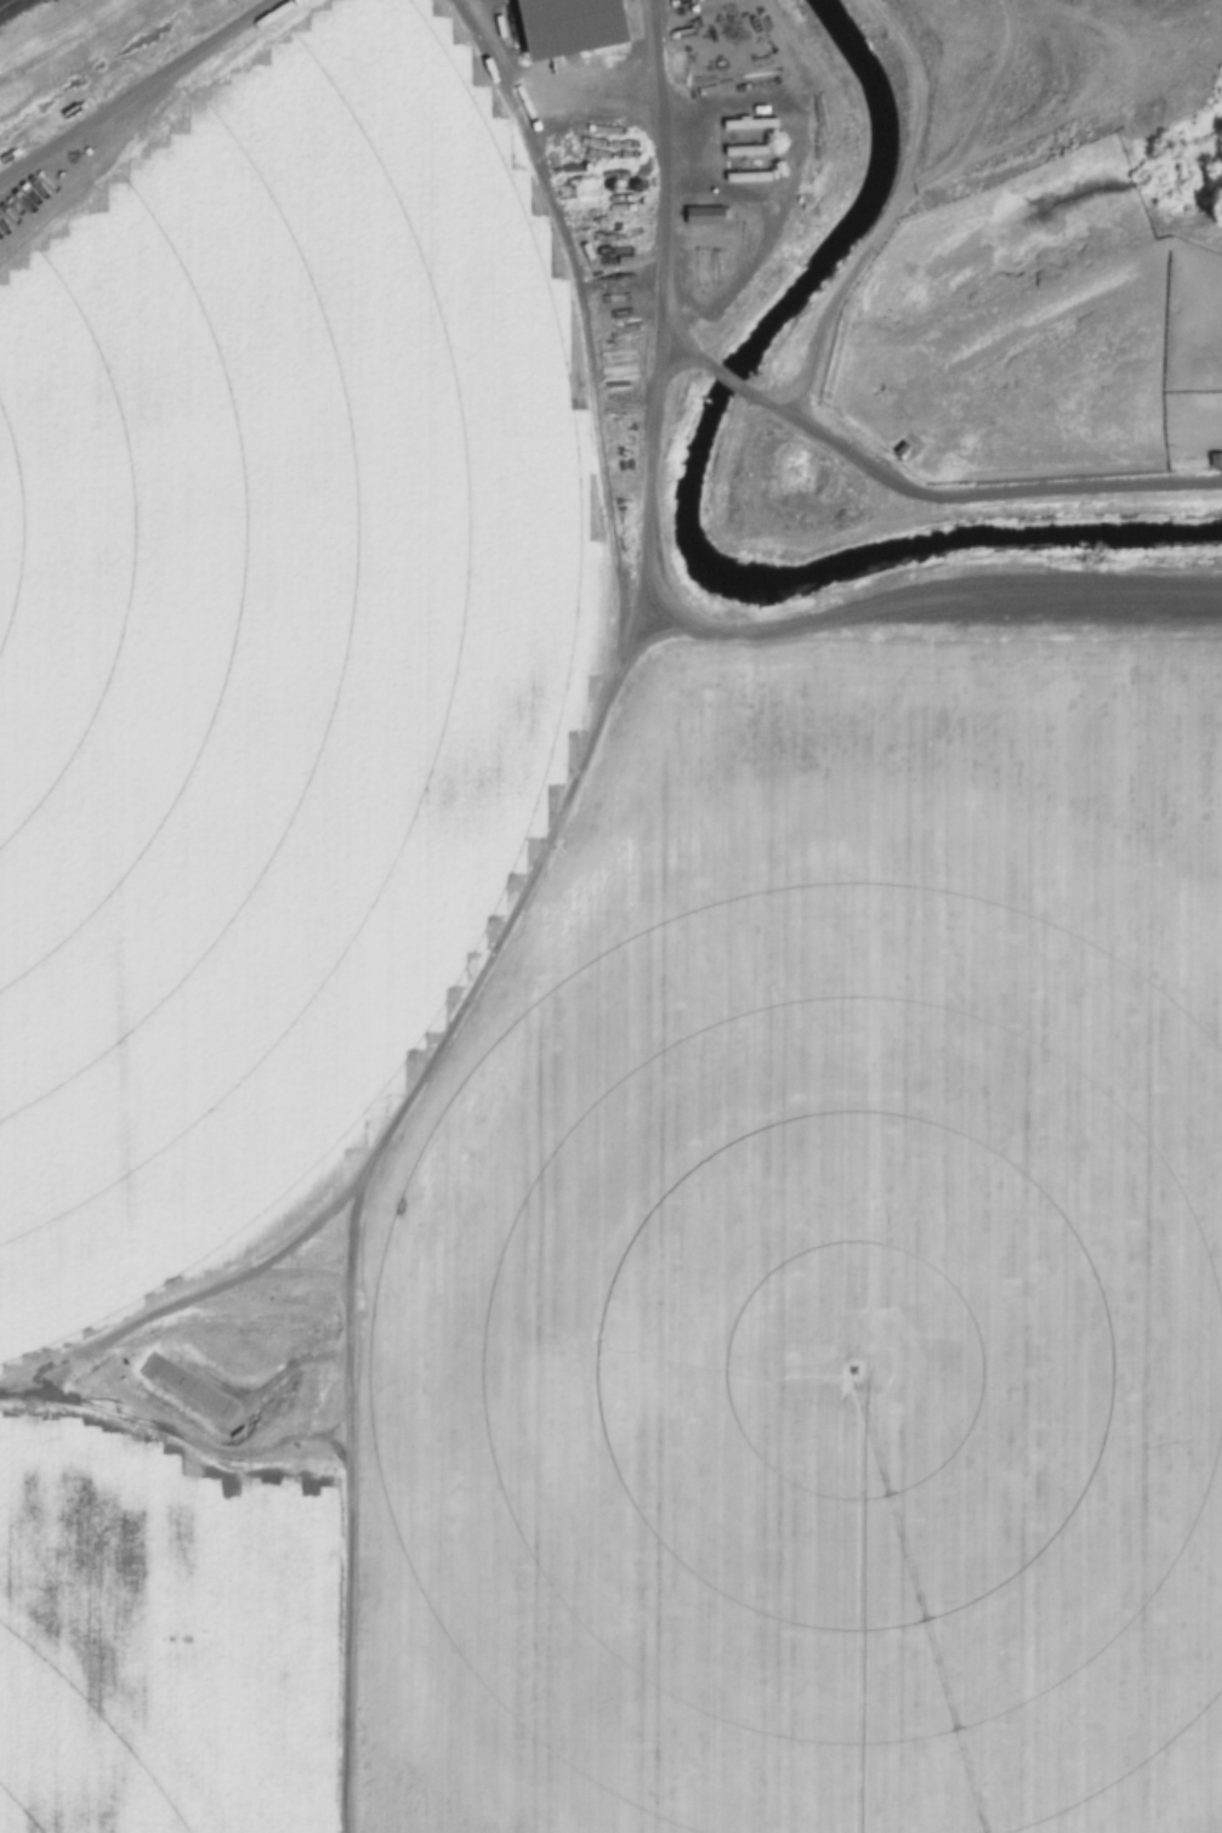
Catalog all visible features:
railway: (5, 2)
railway: (6, 5)
building: (570, 25)
building: (749, 123)
building: (746, 151)
building: (704, 215)
building: (1216, 461)

